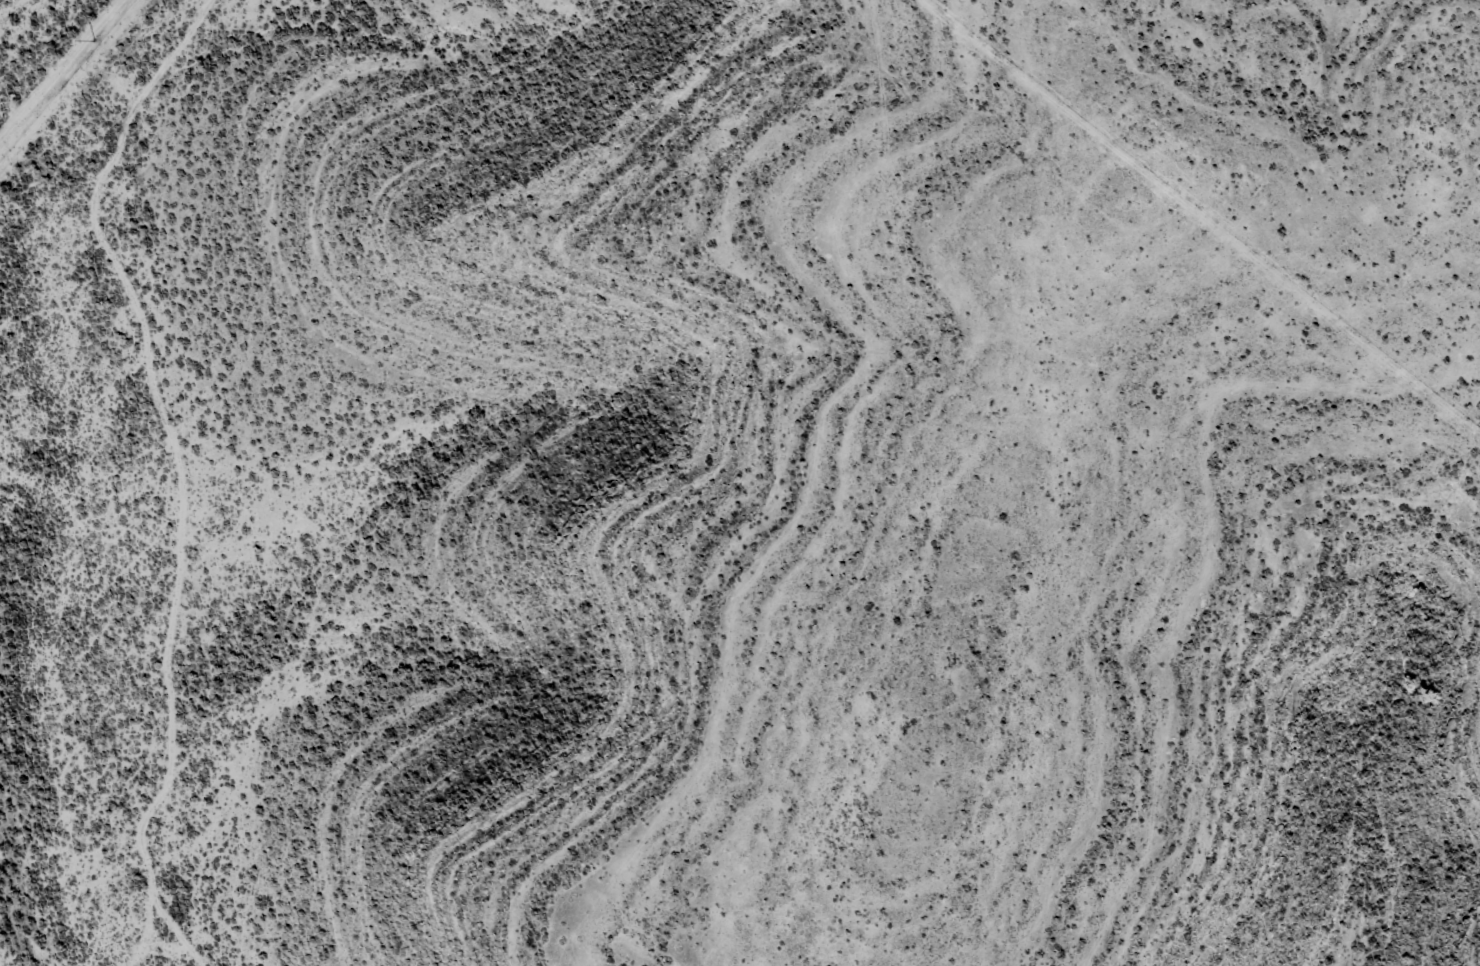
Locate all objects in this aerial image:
power tower: (94, 41)

